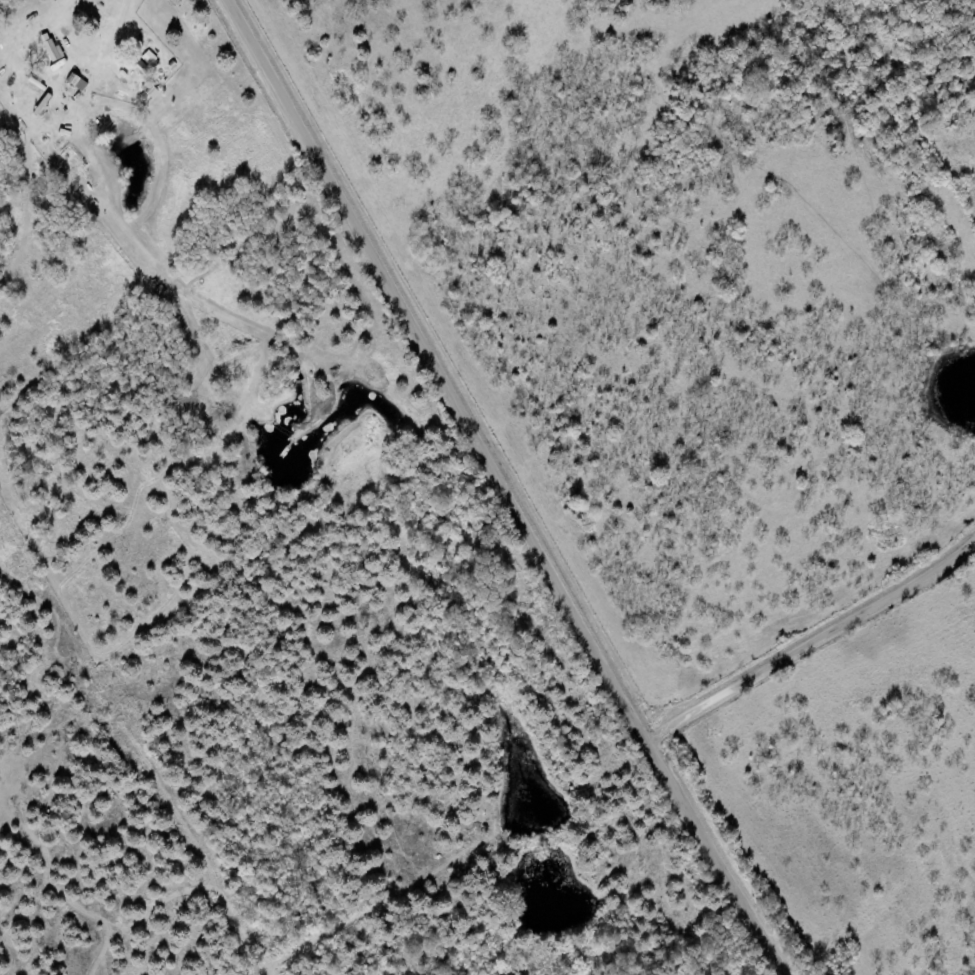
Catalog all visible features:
building: (53, 50)
building: (150, 58)
building: (140, 66)
building: (78, 82)
road: (512, 488)
road: (815, 645)

